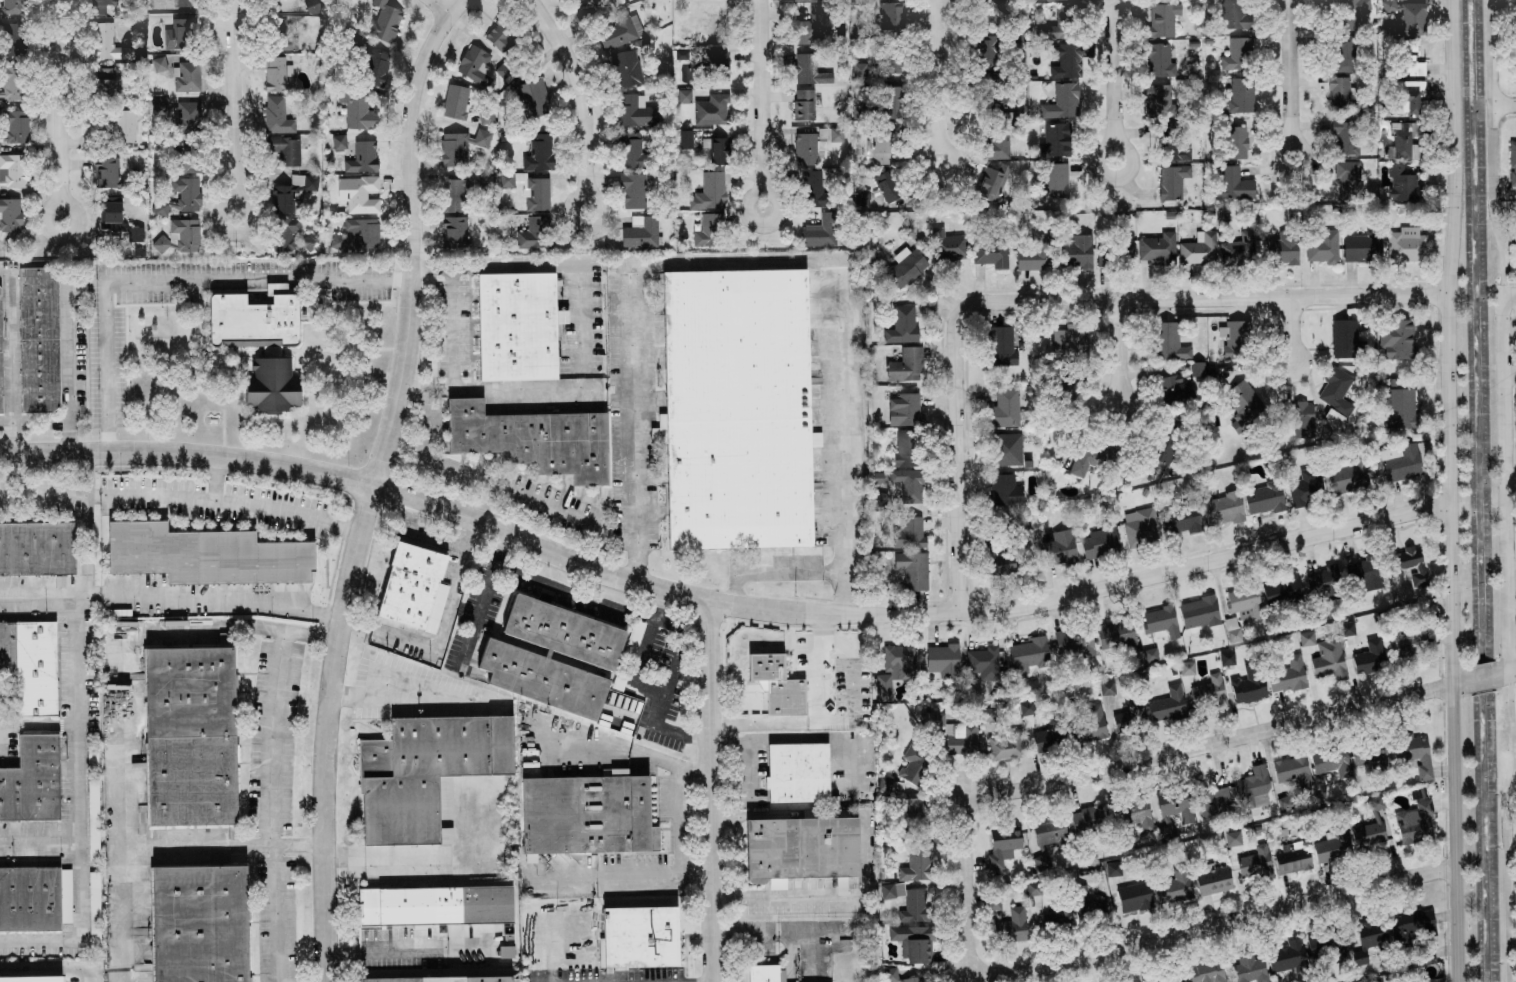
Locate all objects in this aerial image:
building: (595, 0)
building: (808, 0)
building: (1052, 0)
building: (104, 2)
building: (572, 2)
building: (173, 4)
building: (312, 6)
road: (436, 7)
building: (13, 8)
building: (1348, 12)
building: (1235, 14)
building: (890, 16)
building: (1407, 17)
building: (1162, 20)
building: (383, 21)
building: (1061, 24)
building: (813, 27)
building: (620, 30)
building: (182, 33)
building: (500, 37)
building: (106, 43)
building: (986, 49)
building: (1238, 54)
building: (1344, 54)
building: (1070, 59)
building: (1406, 59)
building: (714, 60)
building: (1159, 61)
building: (883, 64)
building: (475, 65)
building: (628, 67)
building: (376, 68)
building: (809, 70)
building: (860, 70)
building: (179, 72)
building: (278, 75)
building: (987, 77)
road: (1291, 78)
road: (1113, 81)
building: (11, 83)
building: (104, 83)
road: (938, 83)
building: (1339, 93)
building: (1241, 95)
building: (1410, 95)
building: (684, 96)
building: (532, 98)
road: (1496, 98)
road: (580, 100)
building: (1159, 101)
building: (455, 102)
building: (1062, 102)
building: (803, 104)
building: (159, 105)
road: (763, 106)
road: (1506, 106)
road: (231, 109)
road: (57, 110)
building: (712, 110)
building: (636, 111)
building: (359, 112)
building: (278, 115)
building: (486, 116)
building: (186, 117)
building: (120, 124)
building: (14, 126)
building: (837, 134)
building: (1345, 138)
building: (686, 139)
road: (1454, 139)
building: (1056, 140)
building: (1403, 140)
building: (339, 142)
building: (884, 142)
building: (997, 142)
building: (1234, 142)
building: (1171, 144)
building: (454, 149)
building: (805, 149)
building: (717, 150)
building: (287, 151)
building: (539, 153)
building: (633, 154)
building: (363, 157)
building: (190, 161)
building: (1512, 162)
building: (13, 170)
building: (106, 172)
building: (1348, 179)
building: (1054, 182)
building: (1170, 183)
building: (990, 184)
building: (1234, 184)
building: (1403, 184)
building: (887, 186)
building: (633, 191)
building: (710, 191)
building: (534, 192)
building: (293, 193)
building: (358, 193)
building: (456, 195)
building: (181, 197)
building: (10, 215)
building: (110, 215)
building: (457, 230)
building: (710, 230)
building: (822, 231)
building: (641, 232)
building: (285, 233)
building: (358, 233)
building: (534, 233)
building: (135, 234)
building: (180, 236)
road: (1499, 244)
building: (948, 245)
building: (1407, 245)
building: (1323, 247)
building: (1362, 247)
building: (1158, 248)
building: (1199, 249)
building: (1238, 249)
building: (1282, 251)
building: (1035, 253)
building: (1077, 253)
building: (992, 254)
building: (1117, 254)
road: (610, 262)
road: (430, 266)
building: (906, 267)
road: (170, 281)
road: (1510, 292)
road: (1207, 298)
building: (517, 322)
building: (902, 325)
road: (1295, 330)
building: (38, 339)
building: (1235, 339)
building: (1397, 339)
building: (1346, 340)
building: (1068, 342)
building: (1169, 342)
building: (1002, 347)
building: (271, 351)
road: (1122, 355)
road: (8, 357)
road: (69, 362)
building: (907, 365)
building: (0, 370)
road: (589, 371)
building: (1175, 388)
road: (411, 389)
building: (1336, 391)
building: (1244, 404)
building: (1005, 408)
building: (1401, 408)
building: (736, 409)
building: (905, 409)
road: (843, 417)
building: (1303, 419)
building: (1335, 421)
road: (642, 423)
building: (533, 440)
building: (1166, 443)
building: (906, 448)
building: (1008, 449)
building: (1094, 456)
road: (959, 461)
building: (1400, 462)
building: (1347, 477)
road: (216, 478)
road: (1506, 482)
road: (369, 484)
building: (912, 484)
building: (1306, 488)
road: (1511, 488)
building: (1006, 490)
building: (1264, 498)
building: (879, 500)
road: (226, 501)
building: (1222, 509)
road: (565, 513)
building: (1180, 519)
road: (483, 522)
building: (1141, 527)
road: (420, 532)
building: (910, 532)
building: (1100, 542)
building: (1059, 547)
building: (37, 548)
building: (203, 555)
building: (1002, 561)
road: (1208, 563)
building: (1406, 565)
building: (913, 569)
road: (775, 571)
building: (1364, 574)
building: (1324, 579)
road: (452, 584)
building: (409, 586)
building: (1282, 589)
road: (844, 592)
road: (46, 594)
road: (215, 598)
road: (481, 600)
building: (1244, 602)
building: (1199, 612)
road: (662, 621)
building: (1160, 621)
building: (1347, 628)
building: (1233, 629)
road: (1455, 629)
building: (1115, 634)
road: (385, 638)
building: (1307, 638)
building: (1407, 640)
building: (1075, 645)
road: (641, 652)
building: (1030, 654)
building: (1151, 655)
building: (1227, 658)
building: (1370, 658)
building: (514, 659)
building: (1329, 659)
building: (943, 661)
road: (806, 663)
building: (983, 663)
building: (31, 667)
building: (895, 668)
building: (1187, 668)
road: (1505, 672)
building: (1287, 676)
road: (1484, 677)
road: (1464, 681)
building: (774, 685)
building: (1248, 686)
park: (852, 692)
building: (1210, 692)
road: (414, 696)
road: (121, 703)
building: (1168, 705)
road: (753, 707)
building: (1027, 708)
road: (1513, 710)
road: (92, 714)
building: (988, 714)
road: (2, 717)
building: (1130, 717)
building: (932, 719)
road: (815, 720)
road: (47, 723)
building: (1089, 725)
building: (190, 738)
road: (817, 738)
building: (1049, 739)
road: (1211, 744)
road: (746, 745)
building: (1006, 745)
road: (588, 752)
building: (1370, 753)
building: (1413, 754)
road: (668, 762)
building: (1332, 762)
building: (916, 764)
building: (1293, 769)
building: (424, 773)
building: (796, 775)
building: (30, 783)
building: (885, 784)
building: (1253, 787)
road: (708, 791)
building: (1418, 793)
building: (93, 796)
road: (1512, 796)
building: (1214, 802)
building: (1286, 803)
road: (268, 807)
building: (1173, 810)
building: (1137, 813)
building: (586, 815)
building: (912, 815)
building: (1090, 819)
building: (1415, 823)
building: (1370, 826)
building: (1048, 837)
building: (1234, 838)
road: (46, 839)
building: (1003, 844)
road: (295, 845)
building: (1333, 845)
road: (197, 847)
building: (798, 850)
road: (385, 855)
building: (1293, 858)
road: (677, 859)
building: (917, 863)
building: (1257, 864)
building: (1113, 869)
park: (1512, 869)
road: (694, 874)
road: (564, 875)
road: (1506, 875)
building: (1212, 879)
road: (962, 888)
building: (1034, 888)
building: (1174, 888)
building: (1134, 897)
building: (29, 900)
road: (781, 901)
building: (434, 907)
building: (915, 907)
building: (94, 909)
building: (199, 924)
road: (1212, 925)
building: (1412, 925)
building: (1012, 926)
building: (1371, 937)
building: (639, 938)
building: (913, 943)
building: (1327, 945)
road: (405, 946)
building: (508, 952)
building: (1288, 956)
building: (1249, 968)
road: (49, 970)
building: (1207, 971)
building: (763, 974)
building: (891, 975)
building: (1166, 978)
building: (44, 979)
building: (914, 979)
building: (444, 980)
building: (1130, 980)
building: (1429, 980)

